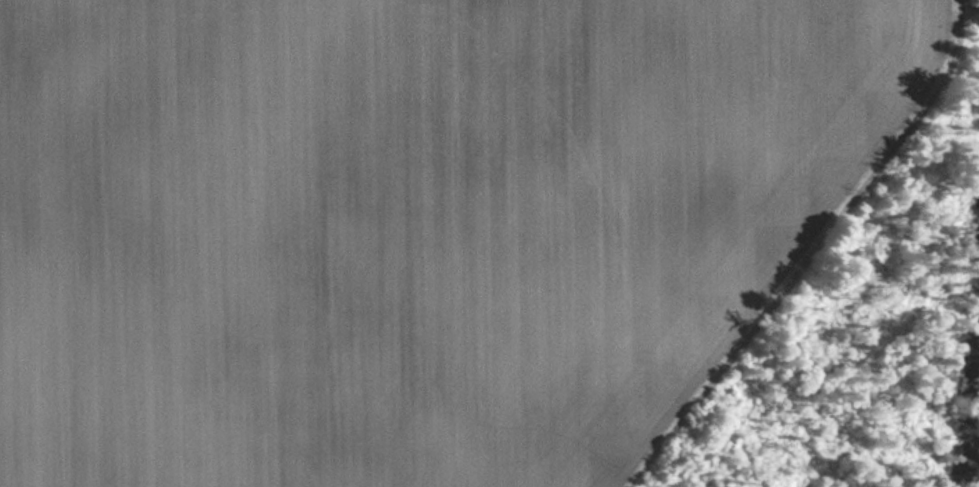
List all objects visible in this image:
river: (964, 365)

